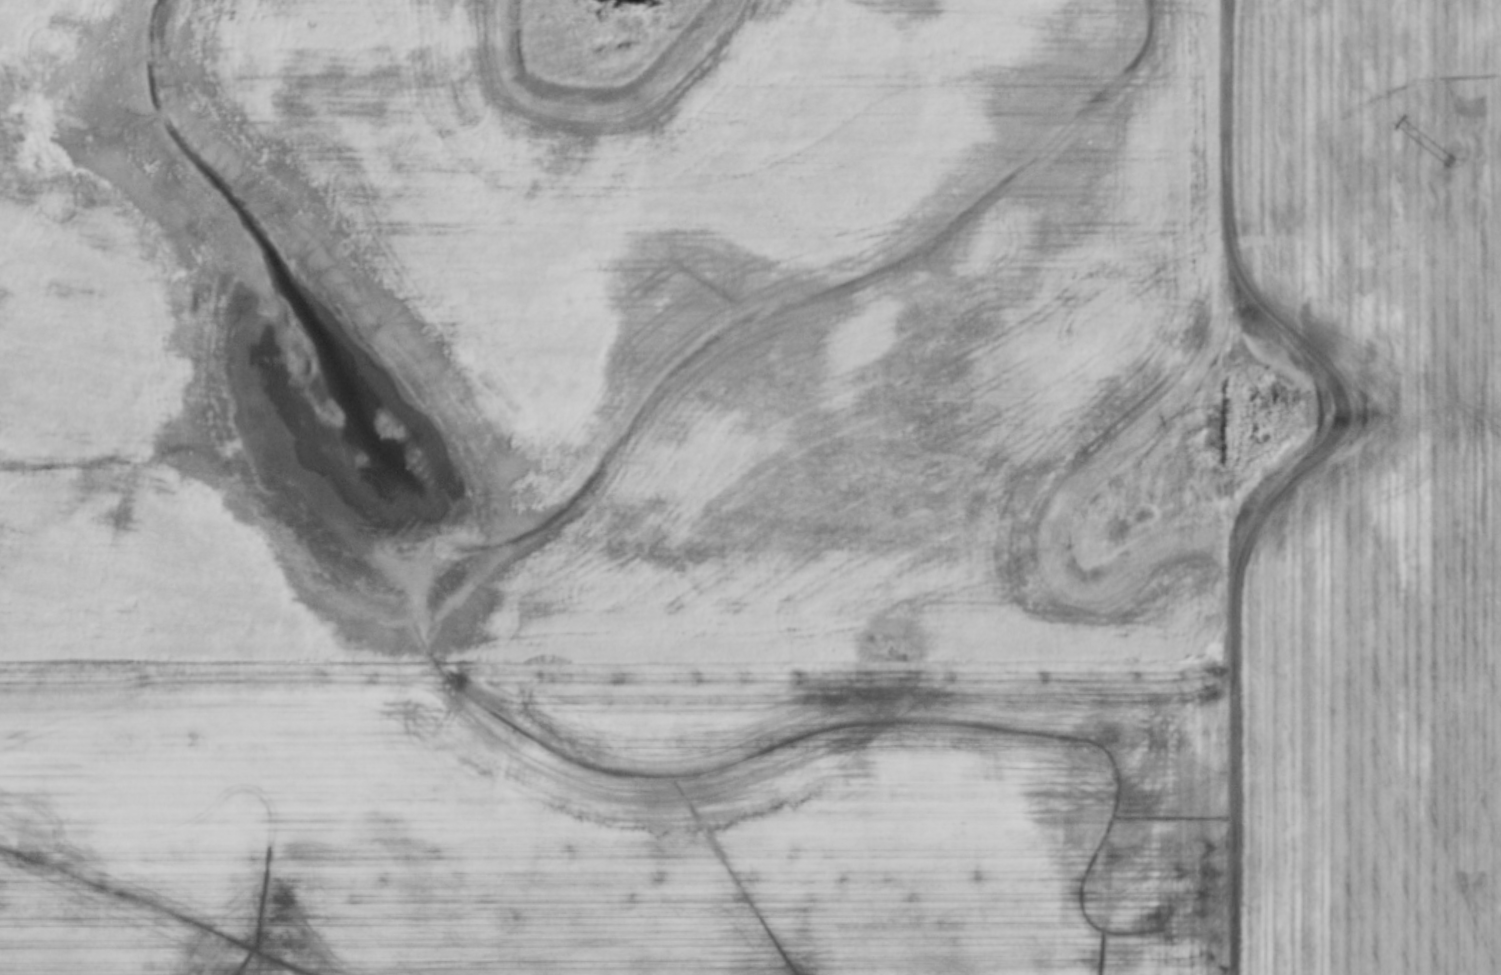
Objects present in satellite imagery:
power tower: (1450, 162)
road: (1296, 480)

